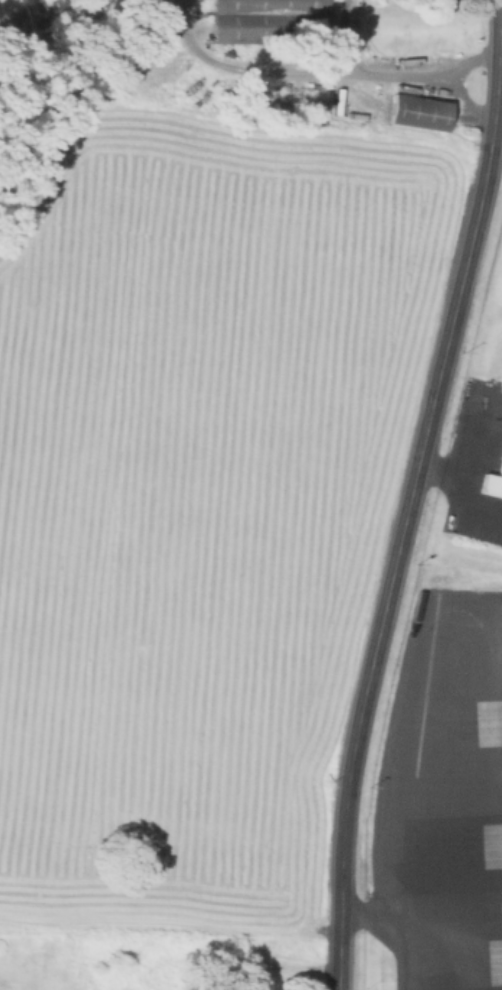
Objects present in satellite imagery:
building: (265, 21)
road: (258, 67)
road: (371, 75)
road: (454, 84)
building: (417, 112)
building: (501, 380)
crop: (192, 463)
road: (442, 467)
road: (466, 475)
building: (492, 482)
road: (411, 493)
building: (501, 608)
road: (449, 800)
road: (388, 906)

